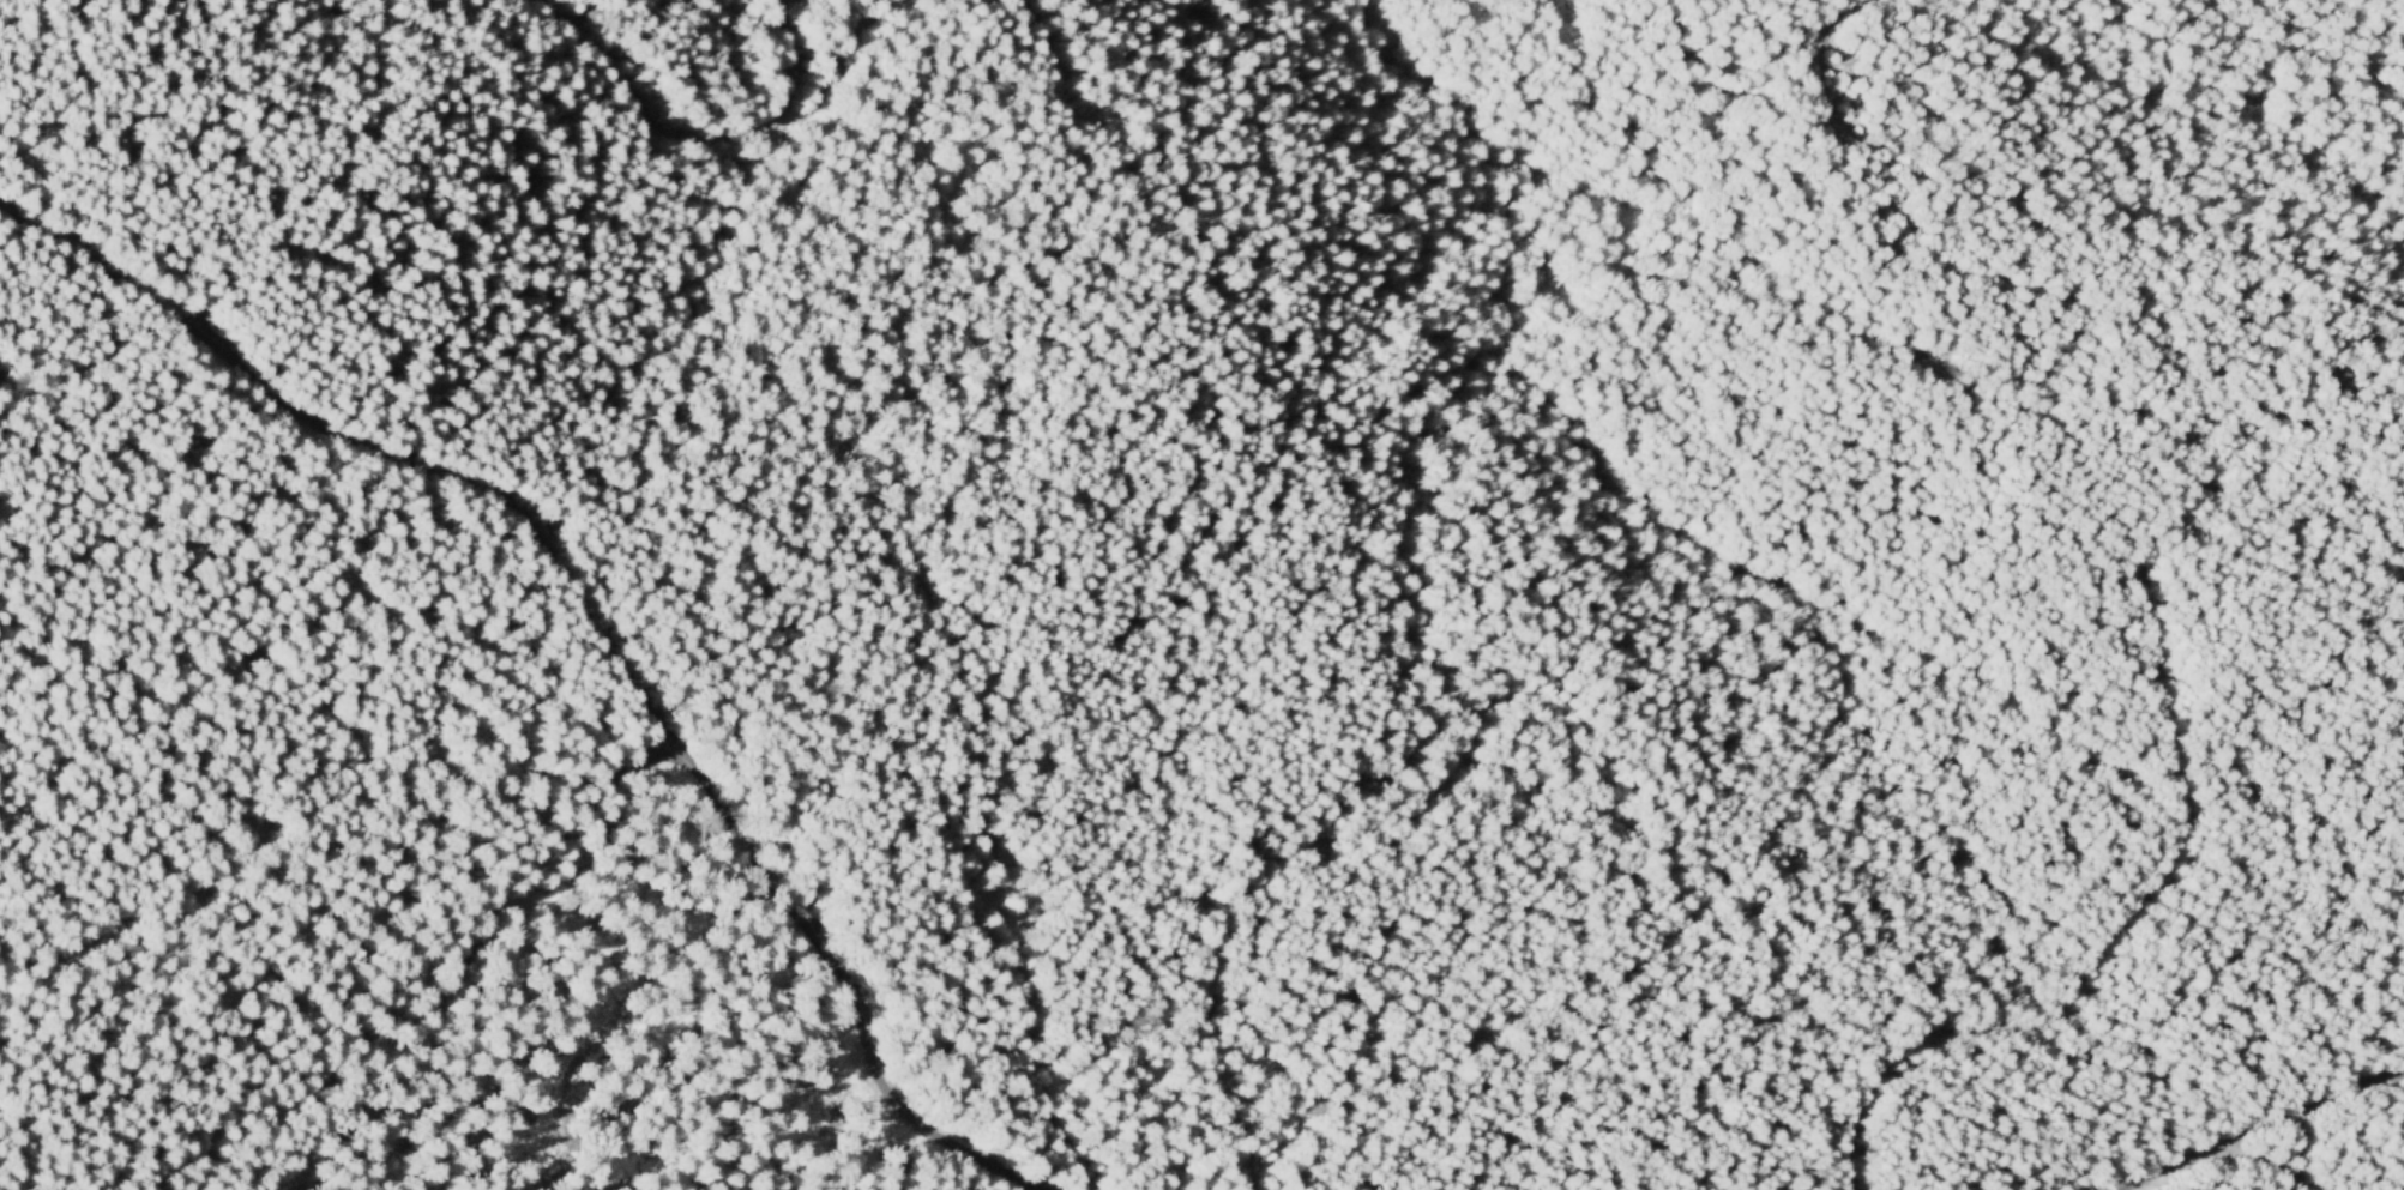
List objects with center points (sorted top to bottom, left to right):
road: (1898, 14)
road: (525, 630)
road: (438, 1004)

